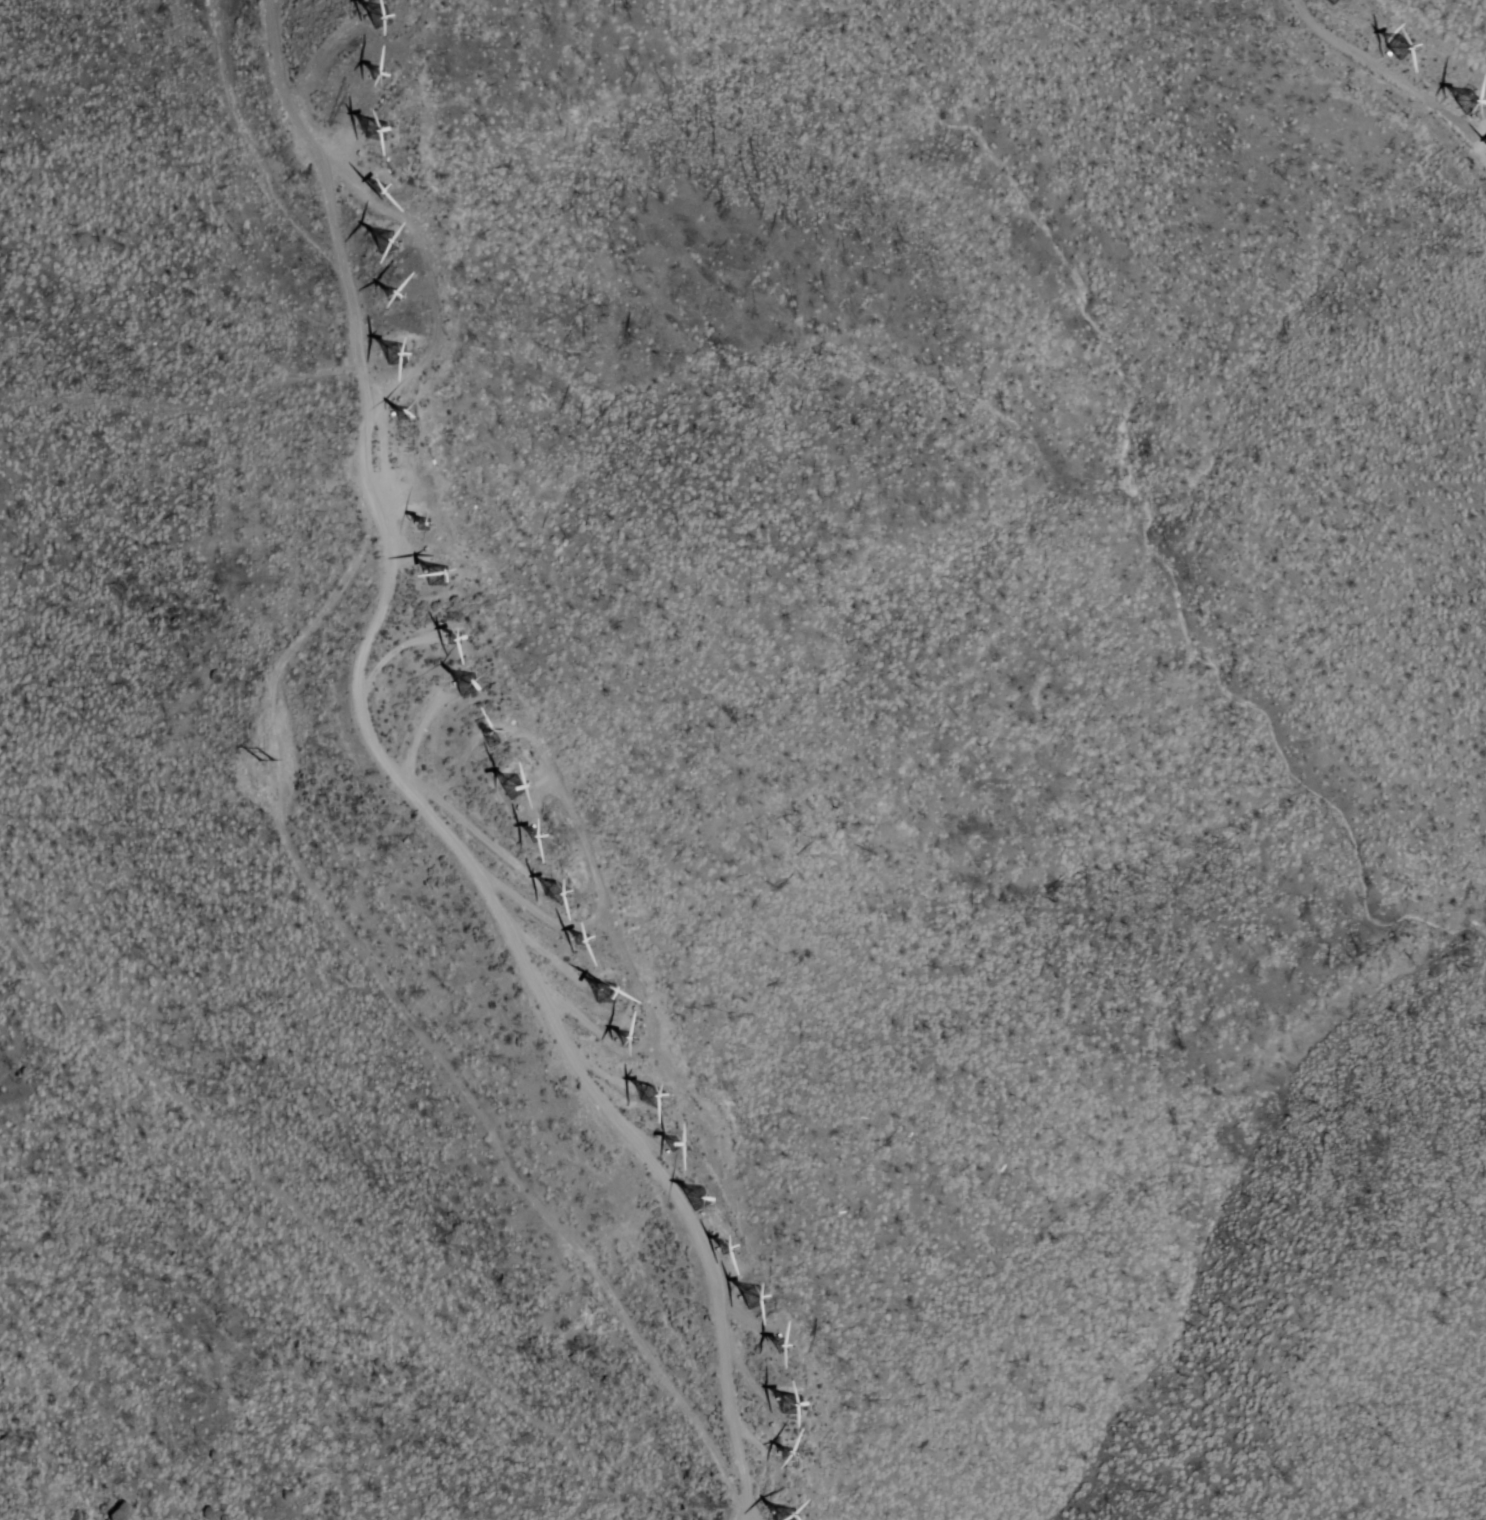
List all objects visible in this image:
wind turbine: (376, 14)
building: (1395, 44)
wind turbine: (1395, 49)
wind turbine: (376, 74)
road: (1395, 77)
wind turbine: (1466, 103)
wind turbine: (372, 128)
building: (373, 129)
wind turbine: (373, 187)
wind turbine: (382, 244)
wind turbine: (389, 296)
wind turbine: (387, 354)
wind turbine: (404, 412)
wind turbine: (416, 522)
wind turbine: (440, 577)
wind turbine: (455, 635)
wind turbine: (461, 686)
wind turbine: (493, 745)
wind turbine: (507, 788)
road: (394, 790)
wind turbine: (533, 839)
wind turbine: (551, 893)
wind turbine: (584, 939)
wind turbine: (601, 995)
wind turbine: (622, 1040)
wind turbine: (643, 1088)
wind turbine: (671, 1137)
wind turbine: (691, 1194)
road: (306, 1223)
wind turbine: (718, 1245)
wind turbine: (749, 1291)
wind turbine: (779, 1344)
wind turbine: (782, 1397)
wind turbine: (784, 1510)
building: (118, 1511)

